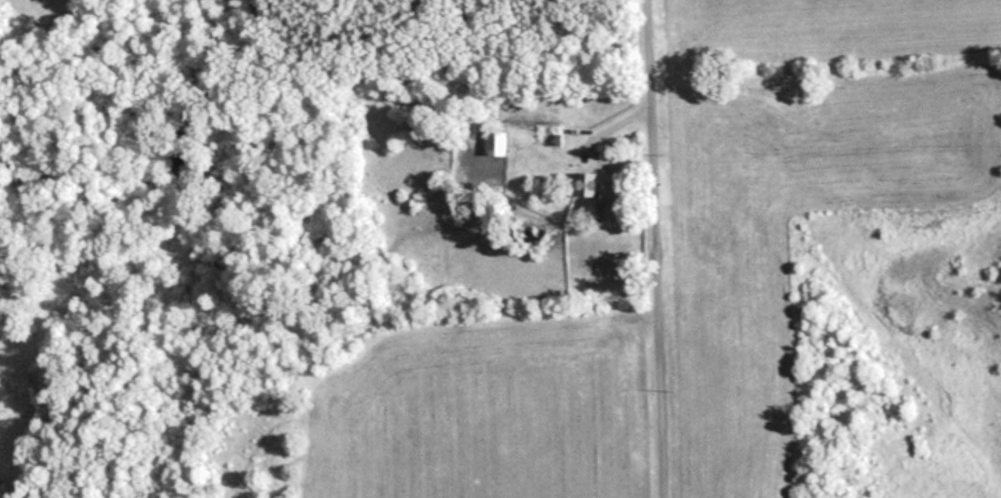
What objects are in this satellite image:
road: (646, 80)
building: (499, 142)
building: (588, 184)
building: (613, 206)
road: (654, 328)

